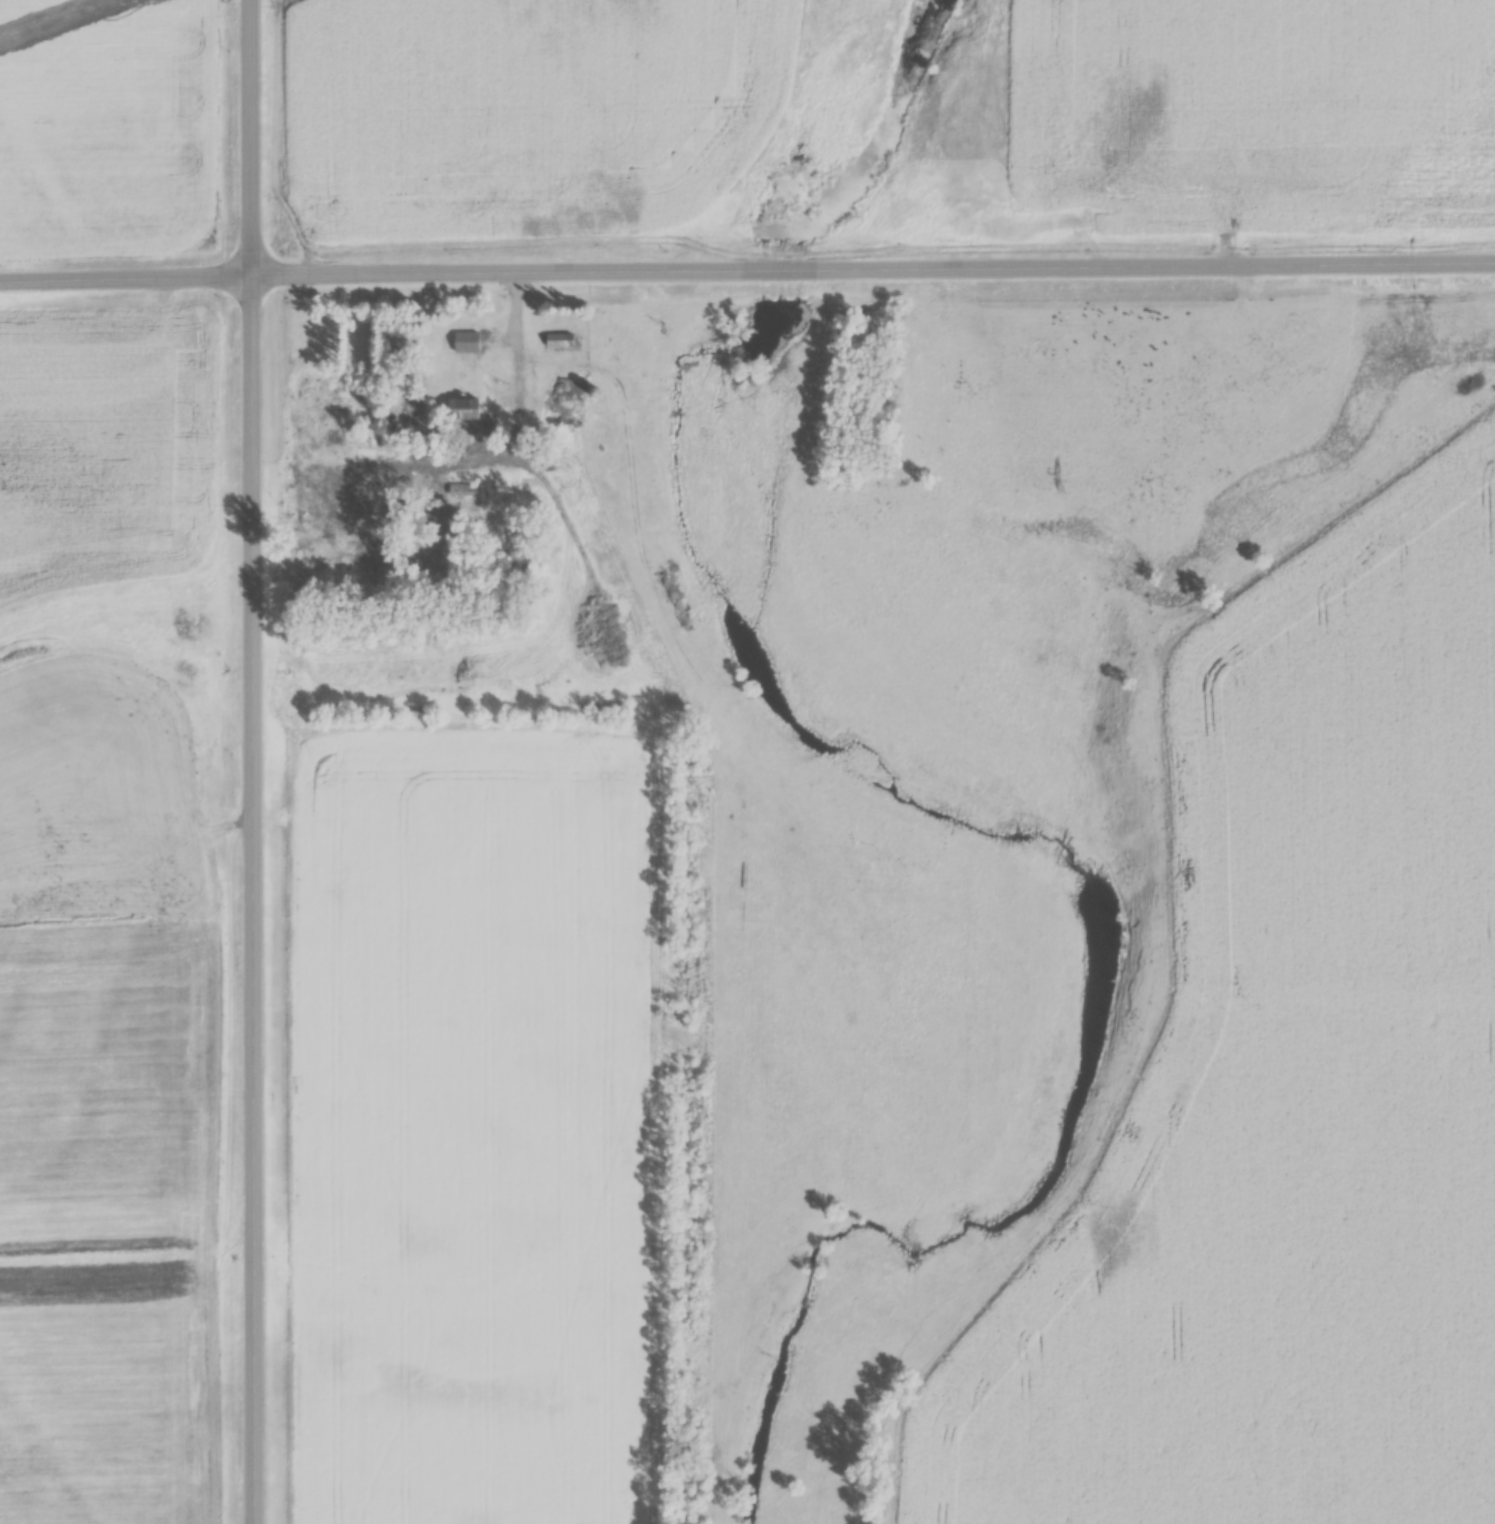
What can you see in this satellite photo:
road: (872, 261)
road: (125, 270)
building: (558, 343)
building: (465, 345)
building: (570, 404)
building: (462, 413)
building: (462, 492)
road: (252, 762)

